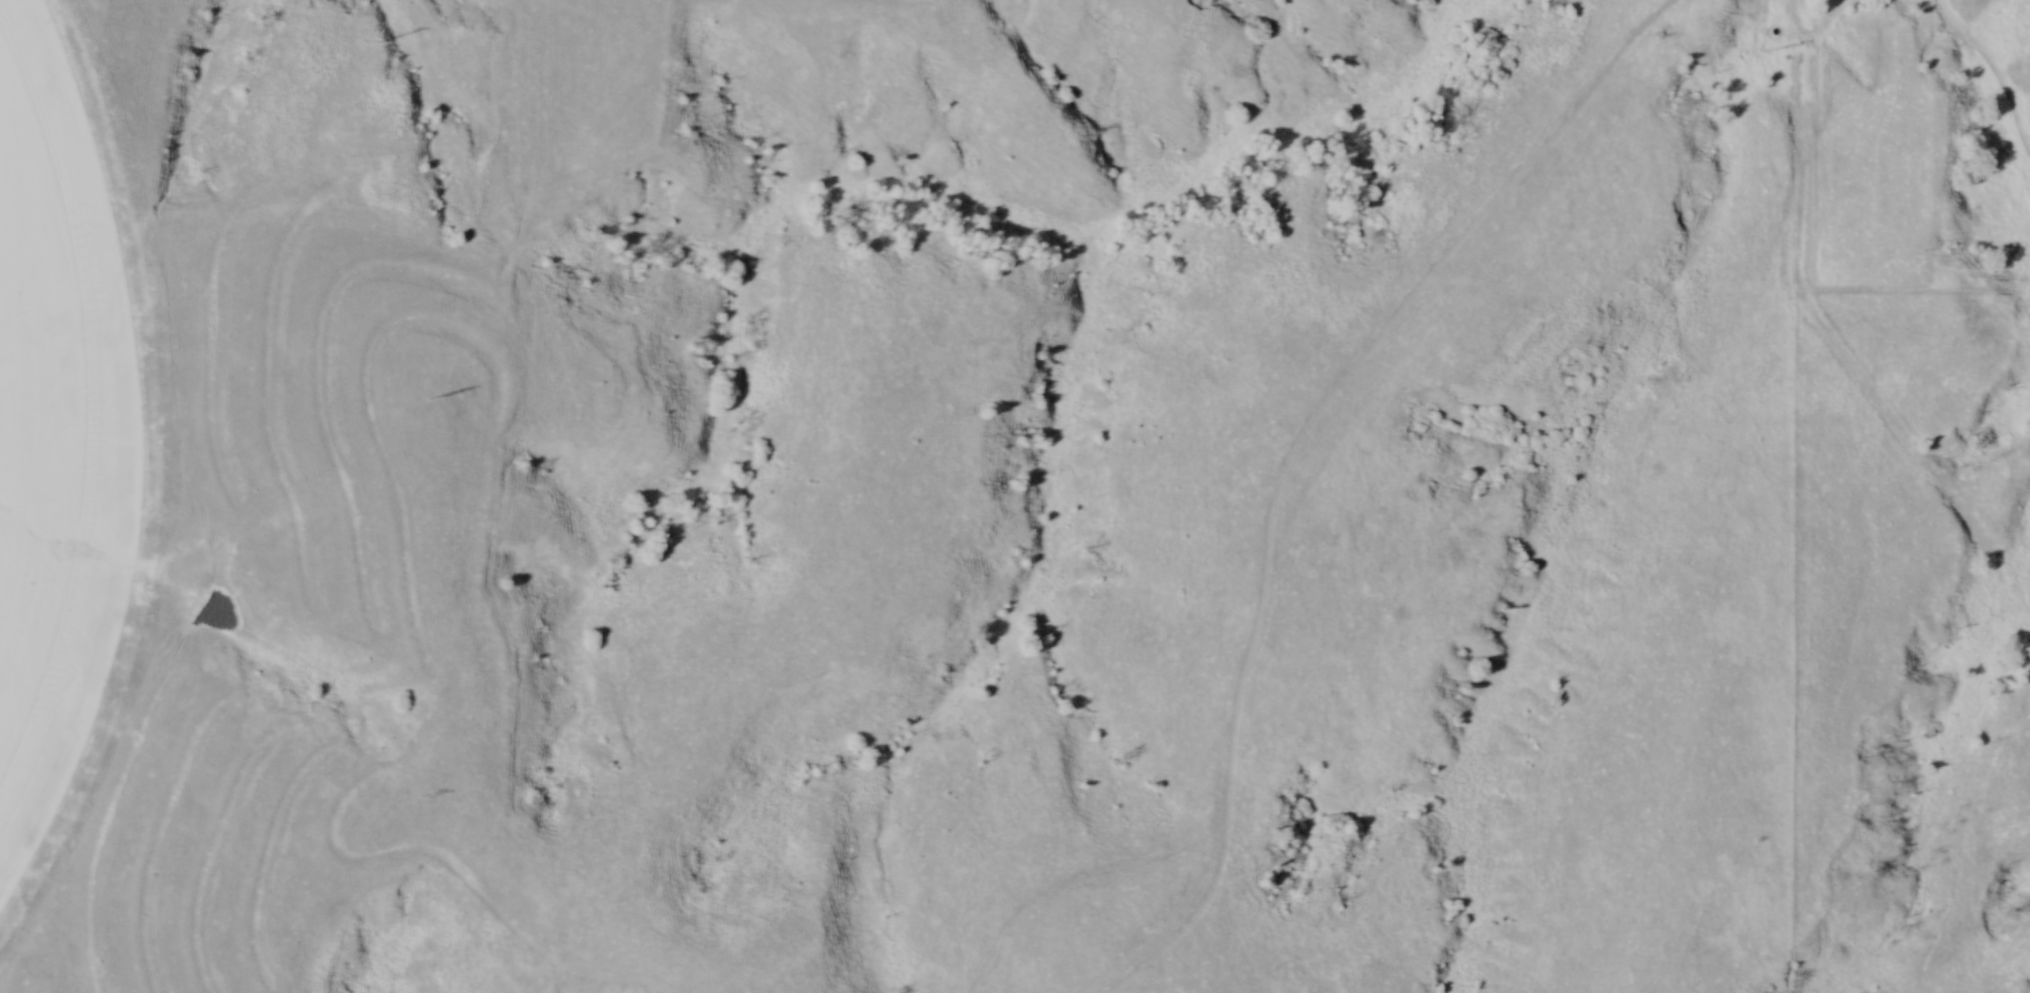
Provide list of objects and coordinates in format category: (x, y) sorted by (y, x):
power tower: (374, 43)
power tower: (435, 399)
power tower: (425, 800)

